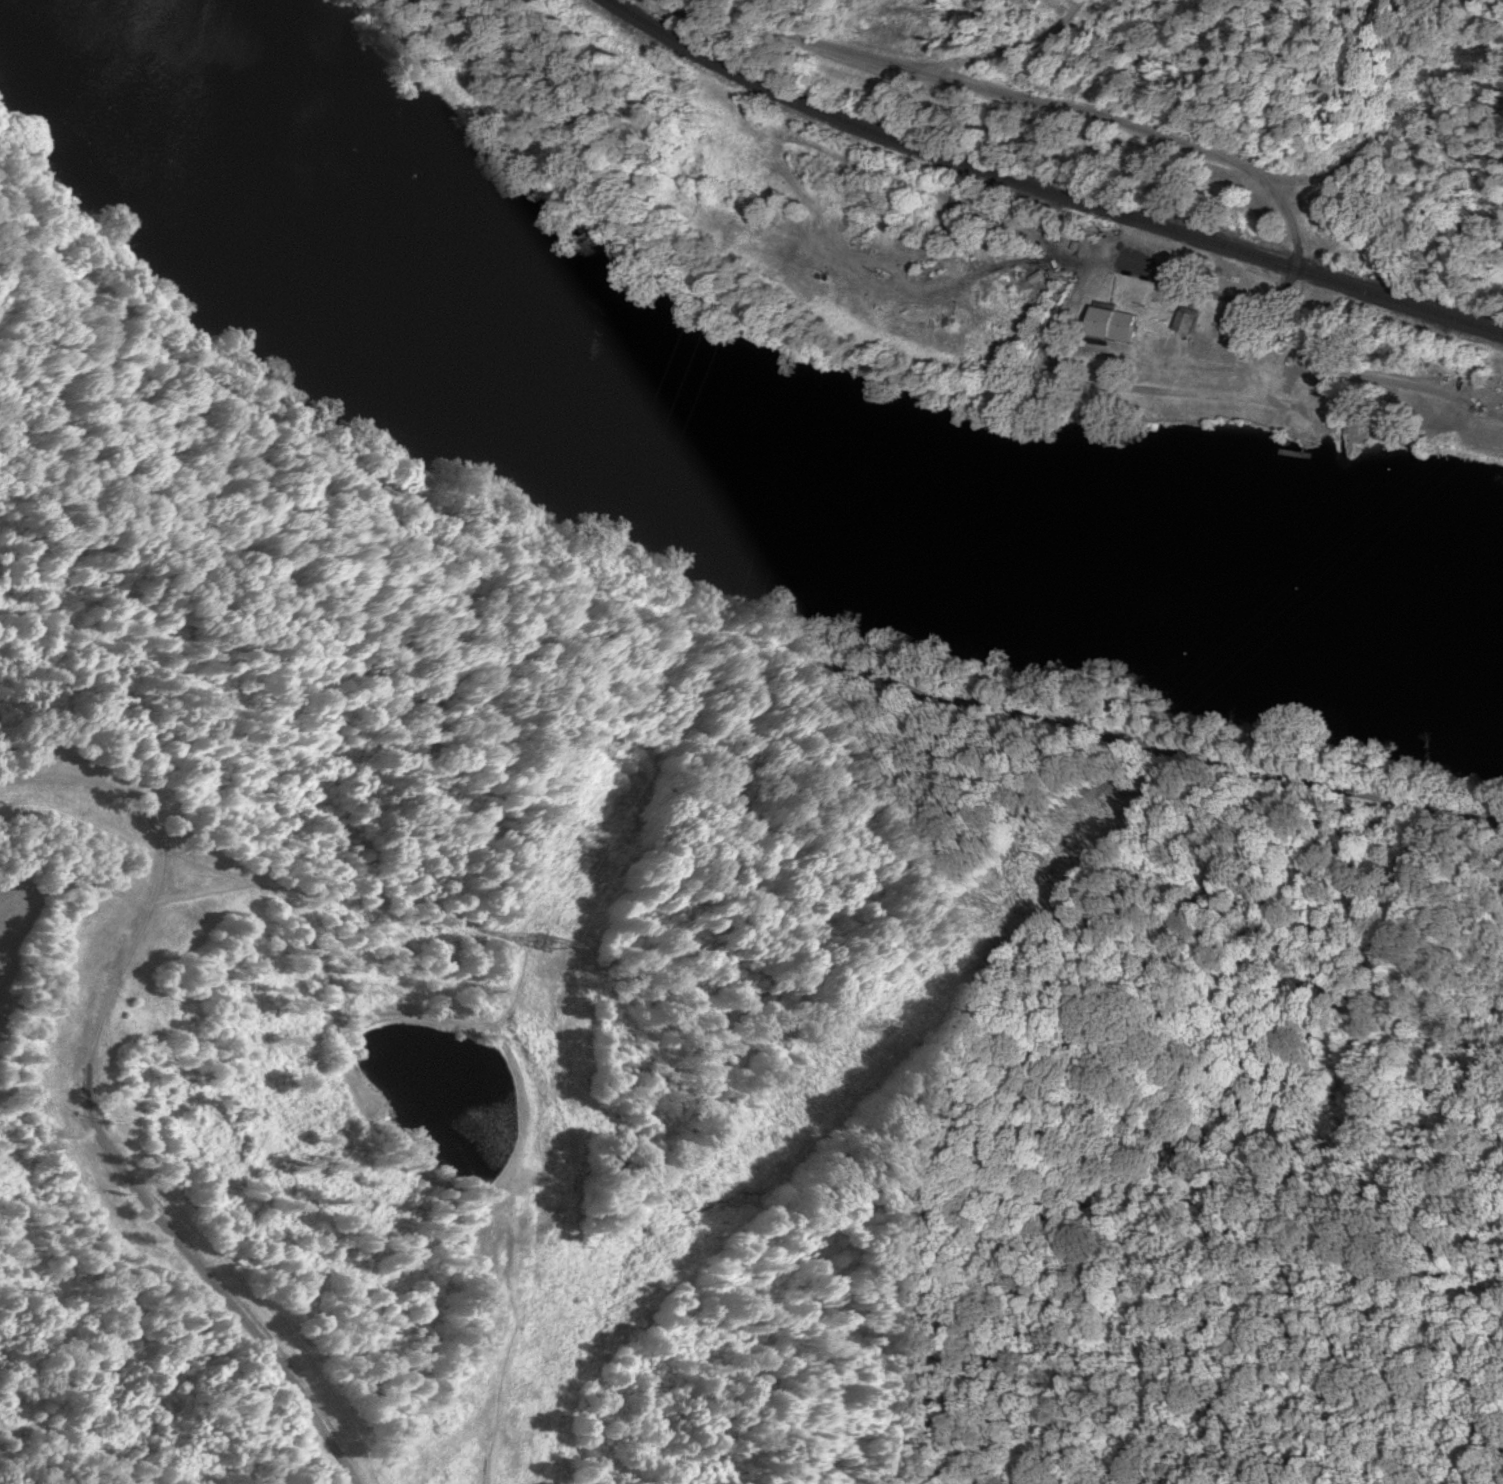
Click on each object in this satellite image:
road: (945, 52)
road: (1090, 113)
railway: (1052, 189)
building: (1185, 319)
building: (1109, 322)
river: (749, 420)
road: (692, 623)
power tower: (530, 956)
power tower: (633, 1243)
road: (21, 1410)

